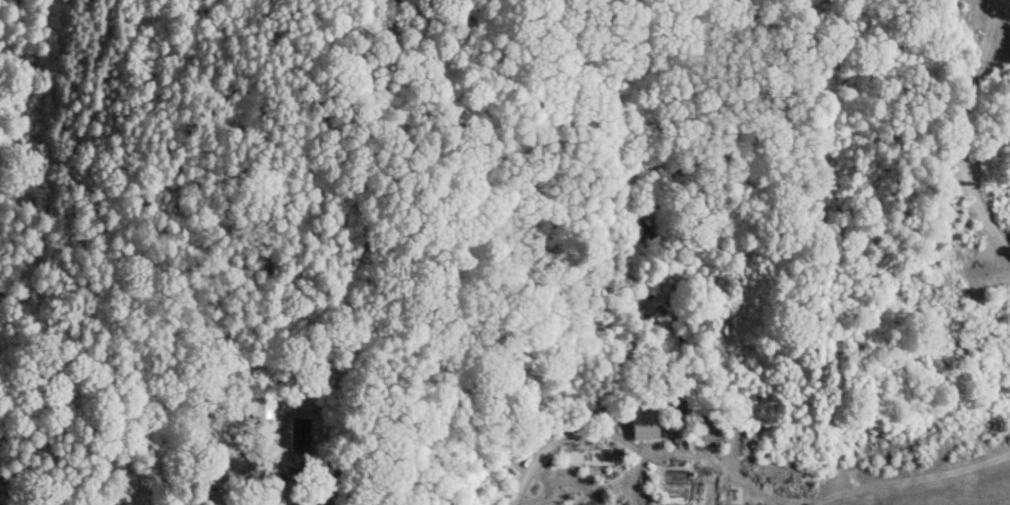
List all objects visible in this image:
building: (257, 401)
building: (642, 424)
building: (692, 437)
building: (588, 457)

